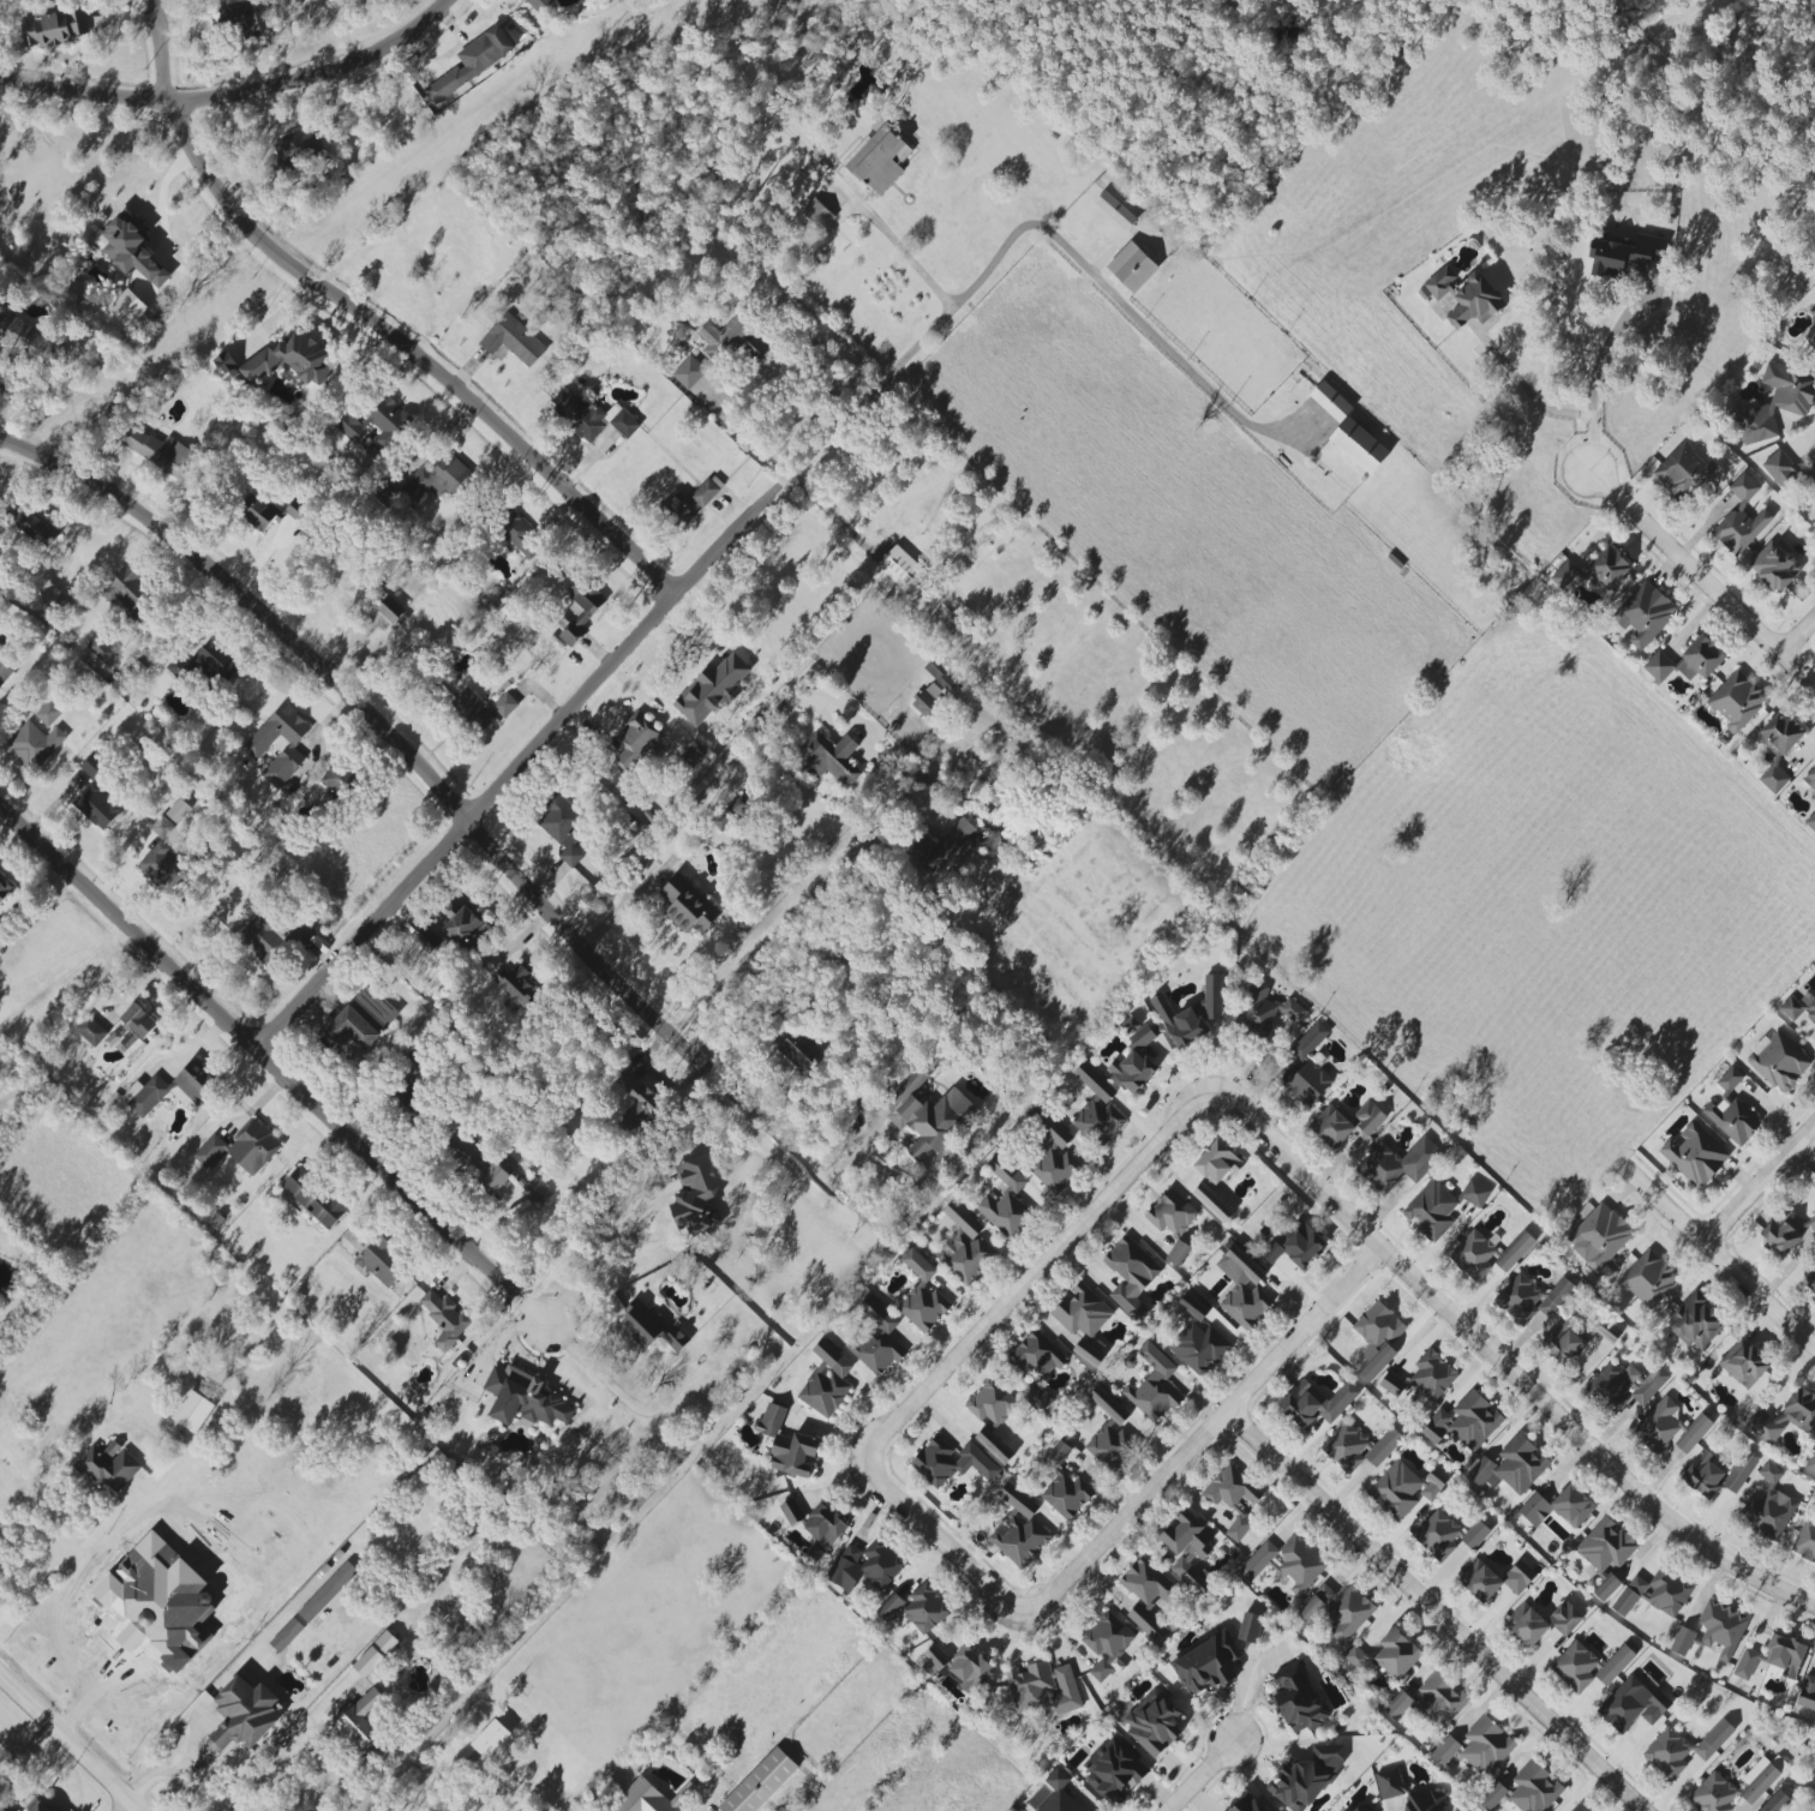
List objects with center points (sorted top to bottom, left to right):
building: (537, 5)
building: (239, 22)
building: (53, 28)
road: (340, 30)
building: (472, 62)
road: (235, 91)
building: (296, 146)
building: (877, 160)
road: (822, 163)
road: (161, 197)
building: (1114, 210)
building: (816, 214)
building: (132, 252)
building: (1623, 254)
building: (1131, 266)
building: (1462, 296)
building: (1814, 304)
building: (127, 308)
road: (371, 323)
road: (1144, 324)
building: (723, 337)
building: (1810, 337)
building: (23, 340)
building: (756, 349)
building: (289, 359)
building: (688, 372)
road: (1592, 376)
road: (1523, 389)
building: (1330, 401)
building: (1777, 402)
building: (591, 416)
building: (376, 424)
road: (748, 431)
road: (1803, 442)
building: (1358, 445)
building: (156, 450)
building: (1780, 469)
building: (1811, 470)
building: (1682, 472)
building: (436, 478)
building: (707, 491)
building: (294, 510)
building: (679, 510)
building: (257, 515)
building: (1739, 518)
building: (32, 527)
building: (521, 536)
building: (1774, 566)
building: (1607, 568)
building: (901, 569)
building: (1563, 575)
road: (1701, 576)
building: (127, 594)
building: (580, 611)
building: (1642, 614)
building: (564, 620)
road: (639, 635)
road: (1797, 635)
building: (100, 649)
building: (204, 661)
building: (1685, 661)
building: (4, 672)
building: (711, 690)
building: (934, 690)
building: (1736, 700)
building: (481, 709)
building: (48, 713)
road: (376, 721)
building: (634, 742)
building: (34, 744)
building: (278, 744)
building: (1778, 749)
building: (831, 757)
building: (92, 766)
building: (1810, 778)
building: (339, 780)
building: (97, 806)
road: (687, 806)
building: (178, 810)
building: (732, 814)
building: (1810, 821)
building: (161, 827)
building: (562, 829)
building: (945, 847)
building: (161, 866)
building: (4, 889)
building: (688, 906)
building: (463, 925)
building: (269, 939)
building: (426, 940)
road: (763, 941)
building: (517, 984)
building: (1212, 996)
building: (1266, 1009)
building: (385, 1012)
building: (138, 1021)
building: (1180, 1023)
building: (352, 1029)
building: (90, 1031)
building: (1142, 1037)
building: (793, 1055)
building: (1778, 1061)
building: (1308, 1067)
road: (272, 1068)
building: (1131, 1071)
building: (170, 1089)
building: (637, 1101)
building: (1092, 1105)
building: (1731, 1110)
building: (924, 1116)
building: (1368, 1117)
building: (1331, 1127)
road: (780, 1139)
building: (241, 1149)
building: (1694, 1155)
building: (1054, 1159)
building: (475, 1162)
building: (1216, 1163)
building: (1398, 1163)
road: (1759, 1181)
building: (534, 1189)
building: (1473, 1193)
building: (694, 1194)
building: (315, 1197)
building: (1005, 1201)
building: (1212, 1203)
building: (1431, 1210)
building: (1172, 1213)
building: (1810, 1223)
building: (1781, 1234)
building: (1599, 1236)
building: (1296, 1247)
building: (965, 1248)
building: (1514, 1252)
building: (1176, 1253)
building: (1473, 1255)
road: (1719, 1257)
road: (598, 1260)
building: (382, 1261)
building: (1240, 1266)
road: (1036, 1273)
building: (1130, 1276)
building: (1648, 1278)
building: (1811, 1284)
building: (921, 1295)
building: (1245, 1303)
building: (1082, 1311)
building: (444, 1318)
building: (1695, 1323)
building: (641, 1324)
building: (1606, 1332)
building: (875, 1338)
building: (1377, 1338)
building: (675, 1339)
building: (1197, 1339)
building: (1563, 1342)
building: (1088, 1353)
building: (1038, 1354)
building: (1743, 1363)
road: (1502, 1369)
building: (1432, 1375)
building: (826, 1381)
road: (609, 1384)
building: (1628, 1384)
building: (1152, 1385)
building: (1391, 1385)
building: (523, 1398)
building: (990, 1402)
building: (1316, 1403)
building: (192, 1411)
building: (1785, 1416)
building: (1463, 1422)
building: (1669, 1428)
building: (1107, 1429)
road: (1204, 1438)
building: (994, 1444)
building: (787, 1445)
building: (1358, 1447)
building: (1810, 1461)
building: (951, 1463)
building: (1510, 1467)
building: (108, 1468)
building: (1739, 1473)
building: (1703, 1476)
building: (1062, 1485)
building: (1403, 1488)
building: (1232, 1498)
building: (1769, 1506)
building: (1558, 1507)
building: (790, 1511)
building: (823, 1525)
building: (1018, 1531)
building: (1446, 1535)
road: (941, 1540)
building: (1804, 1540)
building: (1605, 1546)
building: (1187, 1549)
road: (68, 1557)
building: (172, 1559)
building: (1258, 1560)
building: (1300, 1563)
building: (865, 1566)
building: (1494, 1579)
building: (238, 1587)
building: (1606, 1588)
building: (1654, 1594)
building: (1146, 1595)
building: (1314, 1603)
building: (312, 1607)
building: (889, 1607)
building: (924, 1609)
building: (1349, 1613)
road: (1434, 1613)
building: (1565, 1618)
building: (1526, 1625)
building: (1250, 1627)
building: (1720, 1627)
building: (1681, 1641)
building: (1106, 1644)
building: (375, 1654)
building: (1396, 1654)
building: (1772, 1657)
building: (1358, 1660)
building: (1205, 1663)
building: (1615, 1665)
building: (958, 1666)
road: (116, 1667)
building: (1575, 1667)
building: (1041, 1687)
building: (1807, 1691)
building: (1298, 1699)
building: (1439, 1699)
building: (1398, 1705)
building: (1631, 1705)
building: (242, 1715)
building: (361, 1719)
building: (1152, 1722)
building: (490, 1739)
road: (70, 1743)
building: (1486, 1746)
building: (1683, 1749)
building: (1444, 1750)
building: (1114, 1771)
road: (271, 1774)
road: (1197, 1776)
building: (1306, 1777)
building: (760, 1783)
building: (1389, 1783)
building: (1534, 1788)
building: (1732, 1788)
building: (1058, 1794)
building: (1492, 1795)
building: (647, 1798)
building: (1422, 1801)
building: (1775, 1801)
building: (1247, 1804)
building: (4, 1807)
building: (37, 1807)
building: (1361, 1807)
building: (1579, 1809)
road: (137, 1810)
building: (1343, 1810)

